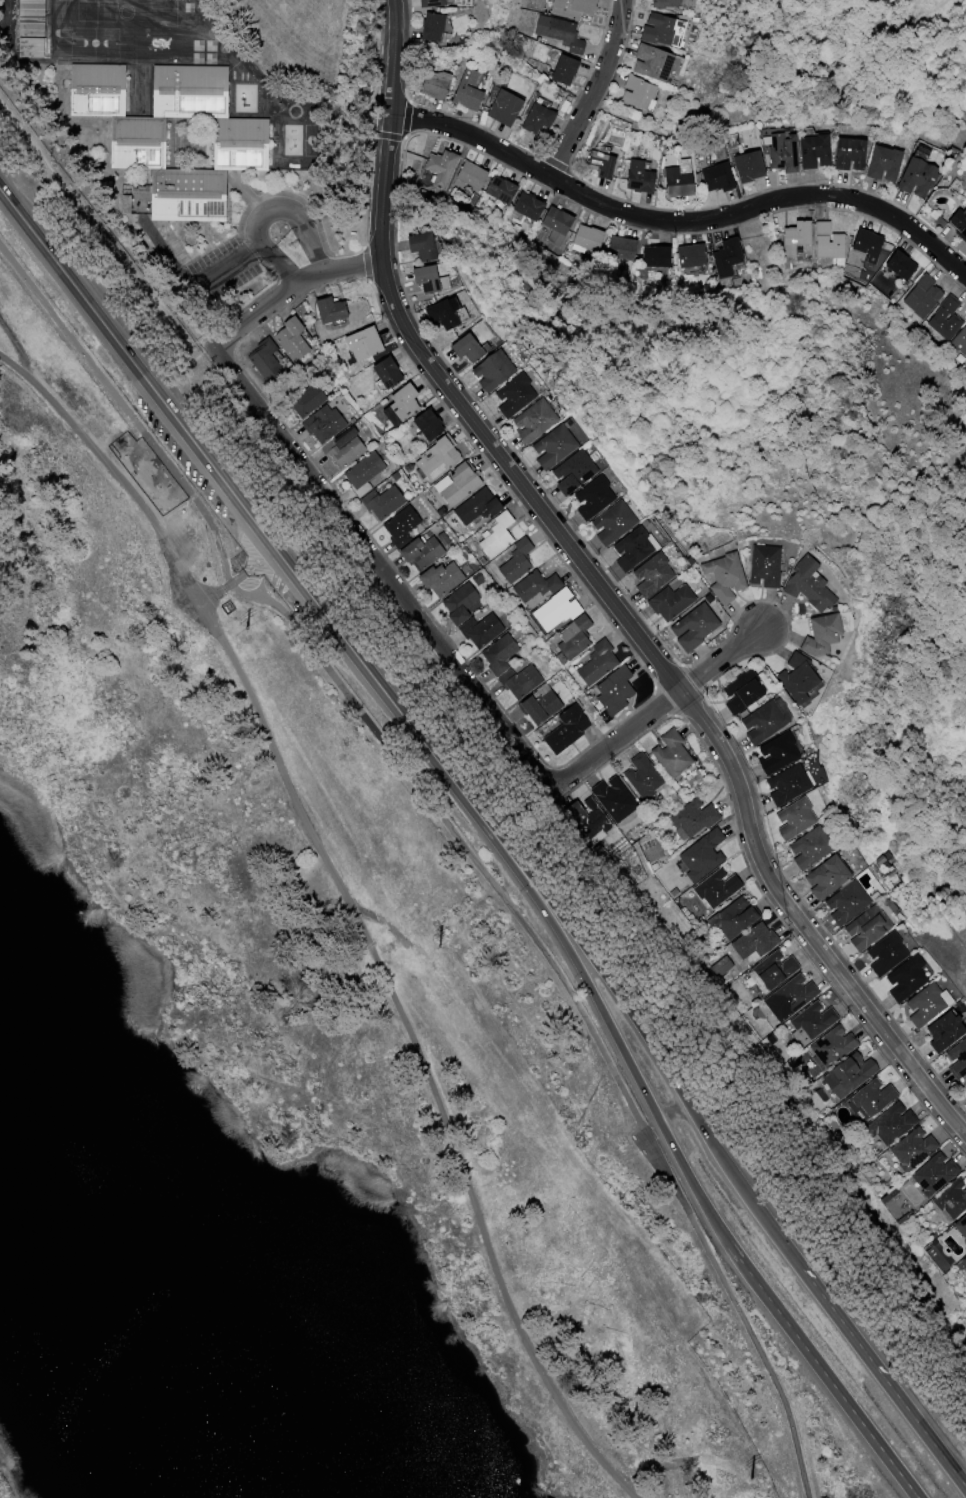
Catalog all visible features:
building: (438, 3)
building: (678, 4)
building: (33, 7)
building: (576, 8)
building: (33, 27)
building: (439, 29)
building: (670, 31)
building: (562, 33)
building: (33, 47)
building: (658, 63)
building: (569, 71)
park: (844, 79)
building: (435, 86)
building: (98, 90)
building: (192, 91)
building: (471, 91)
road: (596, 92)
building: (643, 93)
building: (509, 107)
building: (541, 116)
building: (138, 142)
building: (243, 144)
building: (816, 151)
building: (851, 152)
building: (785, 153)
building: (605, 164)
building: (887, 164)
building: (752, 167)
building: (444, 168)
building: (474, 175)
building: (643, 178)
building: (719, 178)
building: (921, 178)
building: (682, 184)
building: (504, 190)
building: (190, 195)
building: (531, 207)
road: (270, 212)
road: (91, 221)
building: (561, 221)
road: (681, 222)
building: (961, 223)
building: (797, 238)
building: (589, 239)
building: (829, 242)
building: (868, 245)
building: (416, 246)
building: (624, 247)
building: (659, 253)
building: (696, 255)
building: (730, 257)
road: (233, 264)
building: (903, 265)
building: (420, 279)
road: (294, 290)
building: (924, 298)
road: (89, 307)
building: (328, 309)
building: (439, 311)
building: (947, 318)
building: (288, 339)
building: (363, 341)
building: (960, 342)
building: (457, 348)
road: (20, 351)
building: (261, 357)
road: (185, 365)
building: (483, 370)
building: (382, 372)
building: (505, 394)
building: (303, 400)
building: (398, 403)
building: (525, 420)
building: (320, 423)
building: (421, 425)
building: (545, 447)
building: (342, 451)
building: (432, 459)
building: (565, 472)
building: (362, 473)
building: (455, 484)
building: (586, 498)
building: (382, 502)
building: (472, 506)
building: (402, 521)
building: (606, 523)
building: (493, 536)
building: (624, 549)
building: (419, 552)
building: (513, 562)
building: (753, 567)
road: (386, 570)
road: (237, 575)
building: (645, 575)
building: (715, 577)
building: (439, 578)
parking lot: (274, 581)
building: (795, 585)
building: (531, 586)
road: (603, 589)
building: (664, 602)
building: (458, 603)
building: (552, 611)
building: (687, 627)
power tower: (245, 628)
building: (481, 629)
road: (340, 635)
building: (809, 635)
building: (570, 637)
building: (498, 654)
building: (593, 664)
building: (788, 677)
building: (519, 683)
building: (610, 691)
building: (733, 697)
building: (537, 707)
road: (658, 710)
building: (756, 722)
building: (565, 729)
building: (666, 754)
building: (769, 754)
building: (638, 777)
building: (779, 785)
building: (612, 798)
building: (687, 819)
building: (786, 819)
road: (459, 835)
building: (801, 848)
building: (696, 856)
building: (817, 878)
building: (710, 889)
building: (837, 904)
road: (351, 907)
building: (727, 919)
building: (859, 932)
building: (747, 943)
power tower: (438, 946)
building: (877, 955)
building: (766, 970)
building: (897, 979)
building: (782, 998)
building: (918, 1006)
building: (806, 1021)
building: (936, 1032)
road: (618, 1044)
building: (822, 1049)
road: (657, 1055)
building: (954, 1058)
building: (839, 1079)
building: (963, 1082)
building: (965, 1097)
building: (863, 1101)
building: (884, 1125)
building: (906, 1150)
building: (927, 1176)
building: (947, 1199)
building: (957, 1227)
building: (961, 1263)
road: (822, 1371)
road: (882, 1377)
power tower: (750, 1479)
road: (964, 1485)

